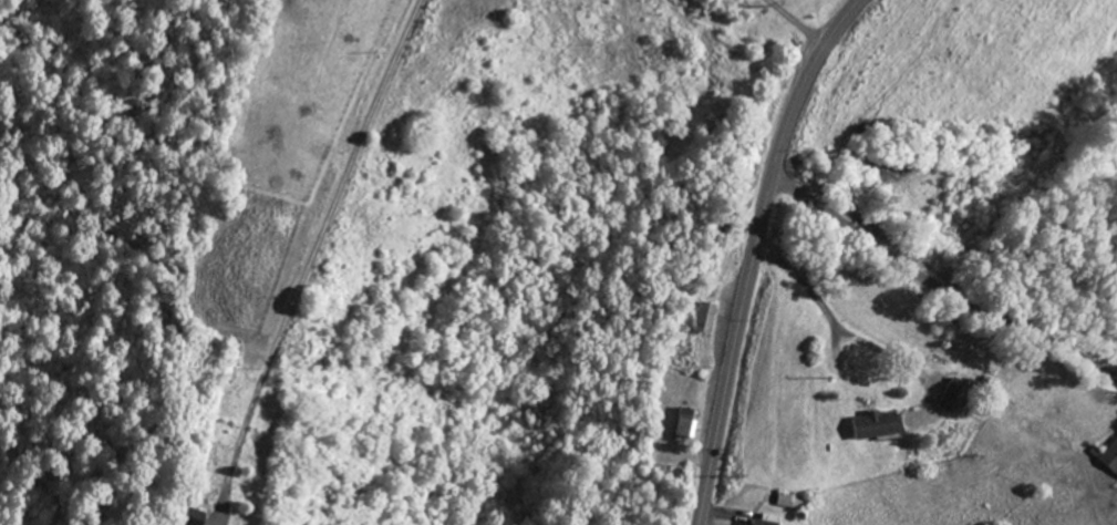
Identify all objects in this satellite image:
railway: (1097, 140)
building: (724, 217)
road: (753, 251)
road: (779, 251)
road: (937, 289)
building: (706, 317)
building: (690, 422)
building: (877, 424)
building: (1107, 454)
building: (796, 501)
building: (193, 517)
building: (766, 522)

